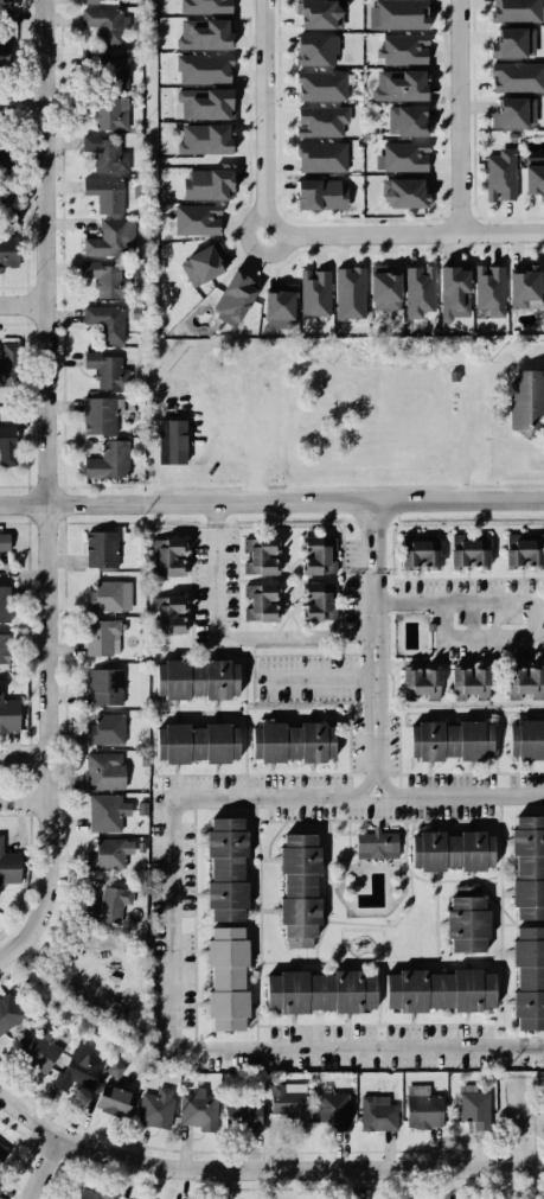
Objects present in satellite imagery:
building: (95, 0)
building: (8, 1)
building: (203, 6)
building: (513, 8)
building: (314, 13)
building: (398, 14)
building: (8, 20)
building: (103, 26)
building: (203, 33)
building: (505, 40)
road: (24, 42)
building: (313, 49)
building: (404, 50)
building: (0, 53)
building: (199, 68)
building: (113, 69)
building: (513, 77)
road: (12, 85)
road: (26, 85)
building: (316, 85)
building: (399, 87)
road: (25, 89)
road: (24, 103)
road: (24, 103)
building: (205, 104)
building: (107, 111)
building: (506, 113)
road: (264, 114)
road: (459, 116)
building: (403, 121)
building: (318, 123)
road: (12, 126)
building: (201, 139)
building: (107, 153)
building: (6, 157)
building: (401, 157)
building: (319, 159)
building: (5, 171)
building: (497, 174)
building: (531, 177)
building: (203, 185)
building: (103, 190)
building: (318, 193)
building: (399, 193)
road: (24, 203)
building: (192, 221)
road: (245, 224)
road: (407, 232)
building: (104, 238)
road: (60, 244)
building: (5, 250)
road: (273, 251)
building: (200, 261)
building: (97, 280)
building: (542, 280)
road: (15, 285)
building: (519, 287)
building: (345, 289)
building: (415, 289)
building: (488, 289)
building: (313, 291)
building: (380, 291)
building: (228, 293)
building: (449, 293)
road: (24, 302)
road: (25, 304)
building: (274, 304)
building: (104, 321)
road: (15, 323)
building: (107, 369)
building: (6, 376)
building: (140, 383)
building: (523, 398)
road: (26, 403)
building: (96, 412)
building: (8, 441)
building: (172, 442)
building: (103, 453)
road: (15, 485)
road: (44, 485)
road: (60, 485)
road: (96, 485)
road: (47, 489)
road: (271, 497)
road: (26, 503)
road: (63, 504)
road: (97, 521)
road: (15, 522)
road: (26, 537)
building: (97, 548)
building: (518, 548)
building: (2, 549)
road: (63, 549)
building: (467, 549)
building: (414, 550)
building: (165, 553)
building: (316, 553)
building: (261, 555)
building: (105, 595)
building: (314, 600)
building: (260, 601)
building: (5, 602)
road: (532, 606)
building: (169, 614)
building: (100, 639)
road: (230, 639)
road: (377, 644)
building: (4, 648)
building: (199, 678)
road: (320, 678)
building: (524, 682)
building: (469, 683)
building: (421, 684)
building: (105, 688)
building: (8, 715)
building: (102, 728)
building: (294, 741)
building: (452, 741)
building: (527, 741)
building: (198, 742)
road: (26, 760)
building: (103, 771)
road: (26, 797)
building: (142, 806)
building: (105, 812)
building: (376, 841)
building: (454, 850)
building: (107, 853)
building: (9, 865)
building: (526, 866)
building: (230, 868)
road: (258, 868)
building: (301, 889)
building: (104, 906)
road: (175, 920)
building: (467, 924)
building: (527, 975)
building: (229, 977)
building: (441, 990)
building: (322, 993)
building: (8, 1012)
building: (39, 1050)
building: (115, 1066)
building: (77, 1076)
building: (113, 1098)
building: (290, 1103)
building: (198, 1108)
building: (474, 1108)
building: (334, 1109)
building: (154, 1110)
building: (425, 1111)
building: (378, 1112)
building: (243, 1115)
road: (519, 1122)
building: (4, 1153)
road: (41, 1166)
road: (262, 1169)
building: (0, 1186)
building: (92, 1195)

